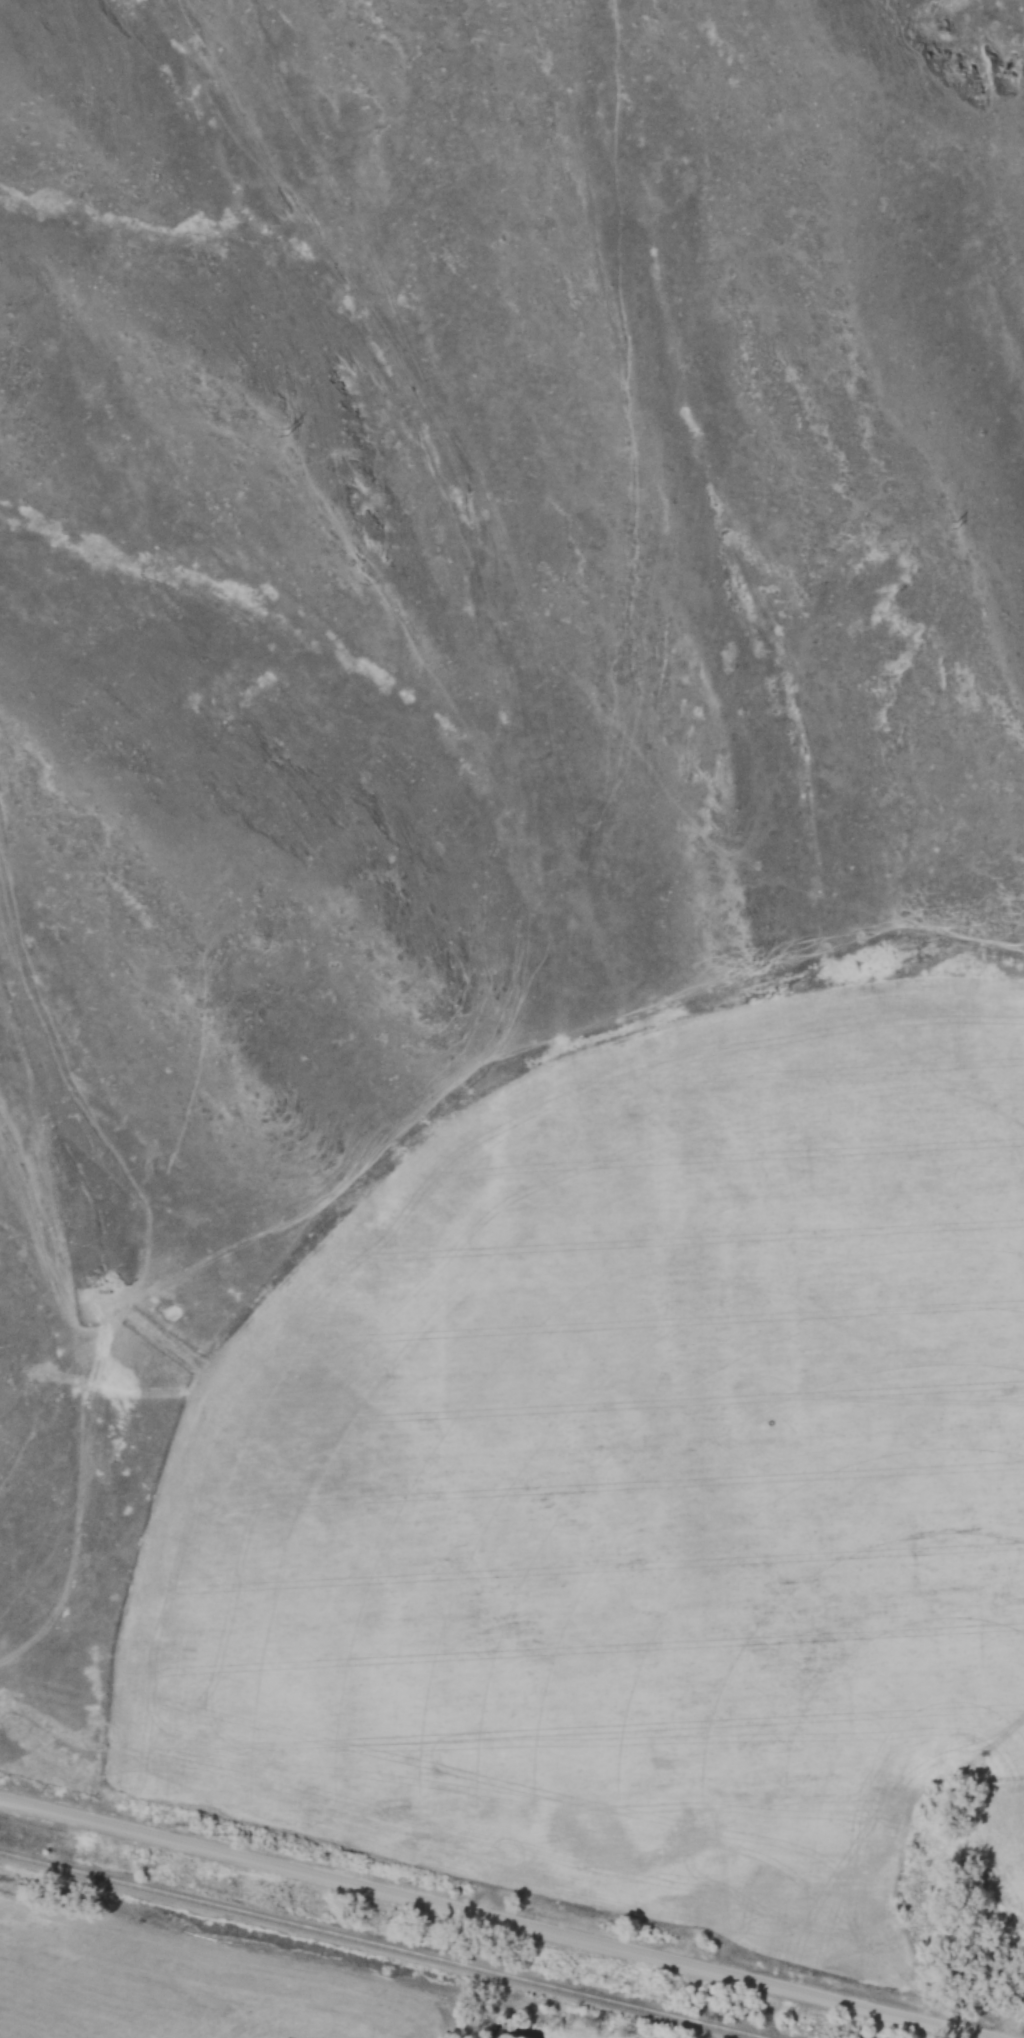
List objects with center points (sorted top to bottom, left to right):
road: (493, 1919)
railway: (379, 1945)

